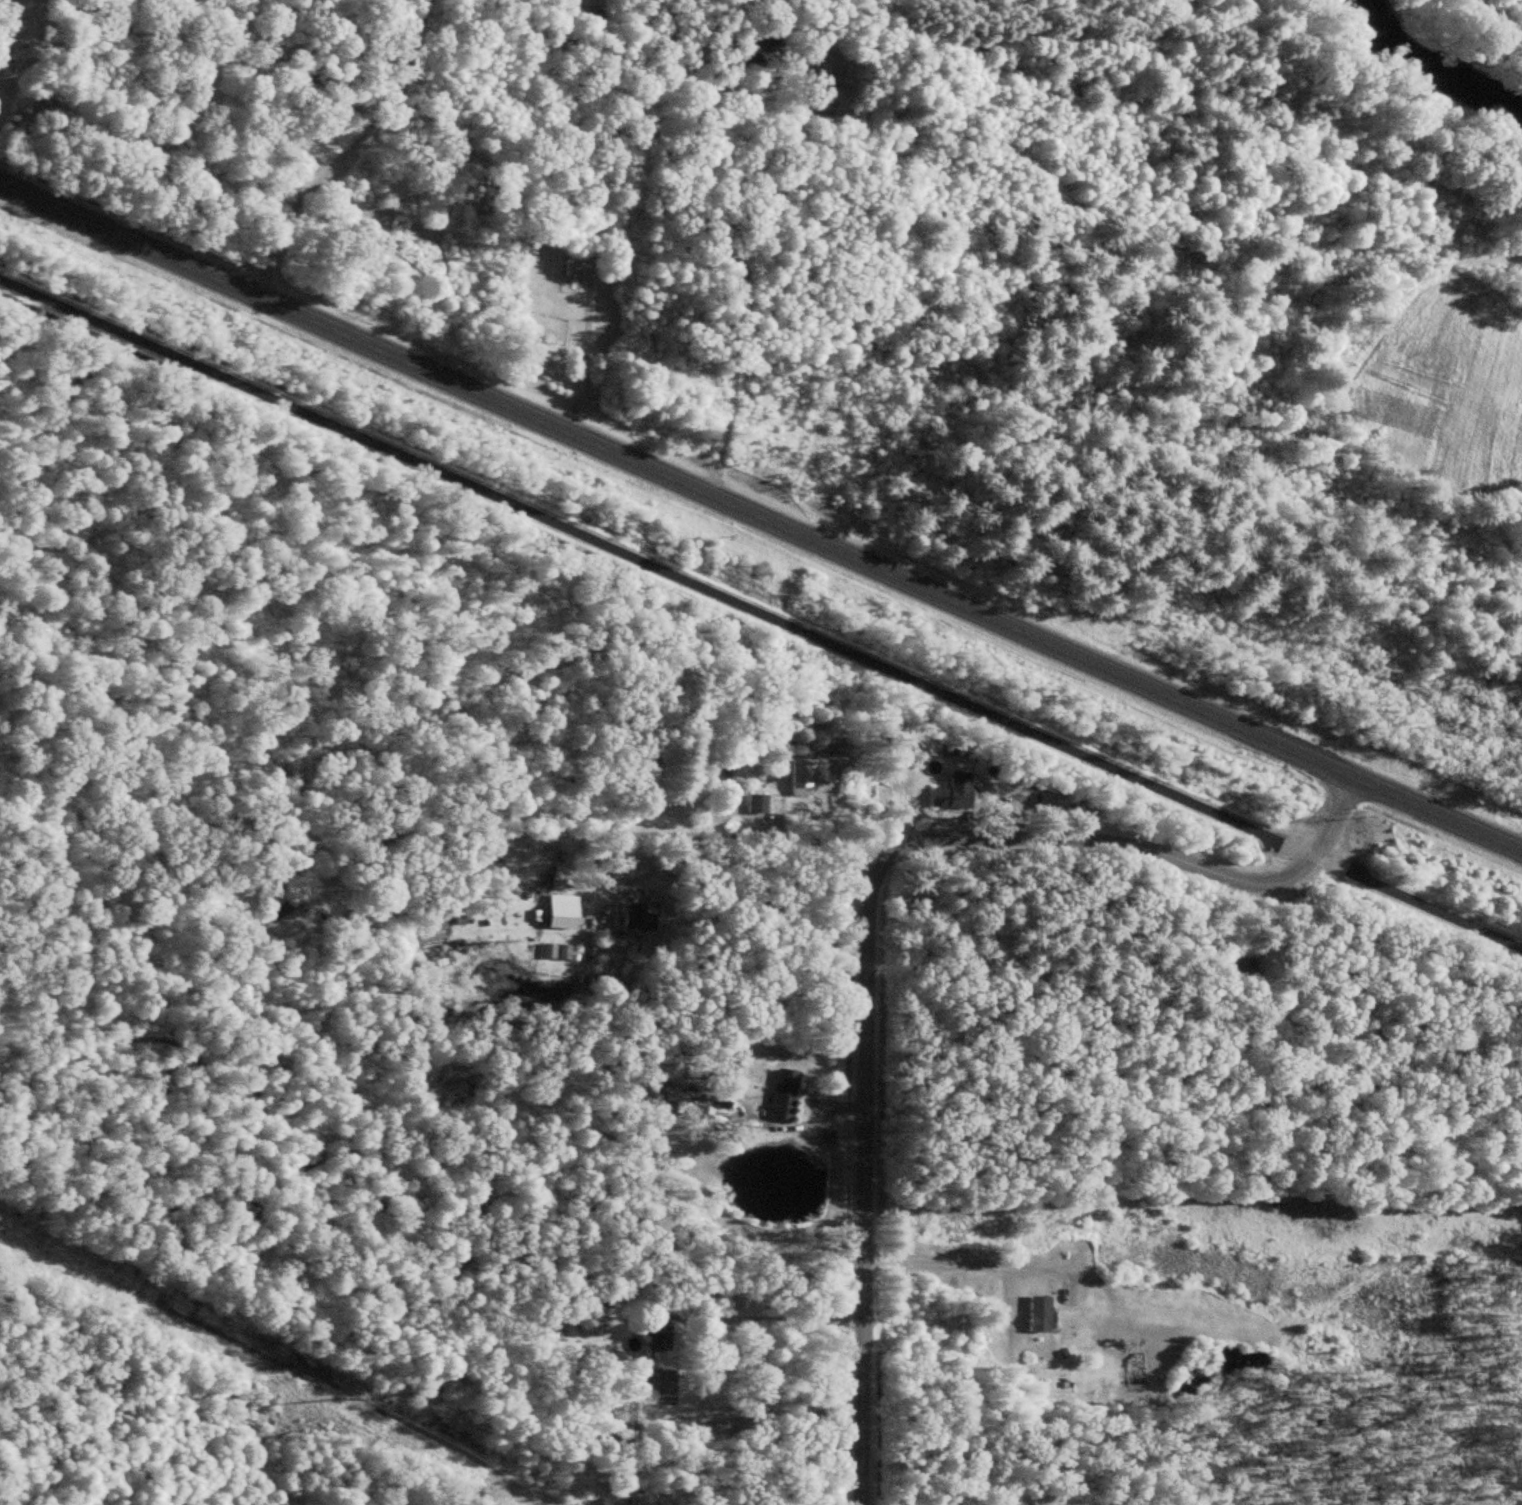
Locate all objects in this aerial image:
river: (1442, 64)
road: (761, 518)
road: (759, 613)
building: (804, 778)
building: (763, 804)
road: (754, 837)
building: (562, 878)
road: (869, 906)
building: (287, 910)
building: (567, 913)
building: (641, 922)
building: (1227, 962)
building: (788, 1096)
power tower: (4, 1228)
road: (974, 1265)
building: (594, 1297)
building: (1036, 1315)
road: (787, 1320)
building: (648, 1325)
power tower: (339, 1393)

